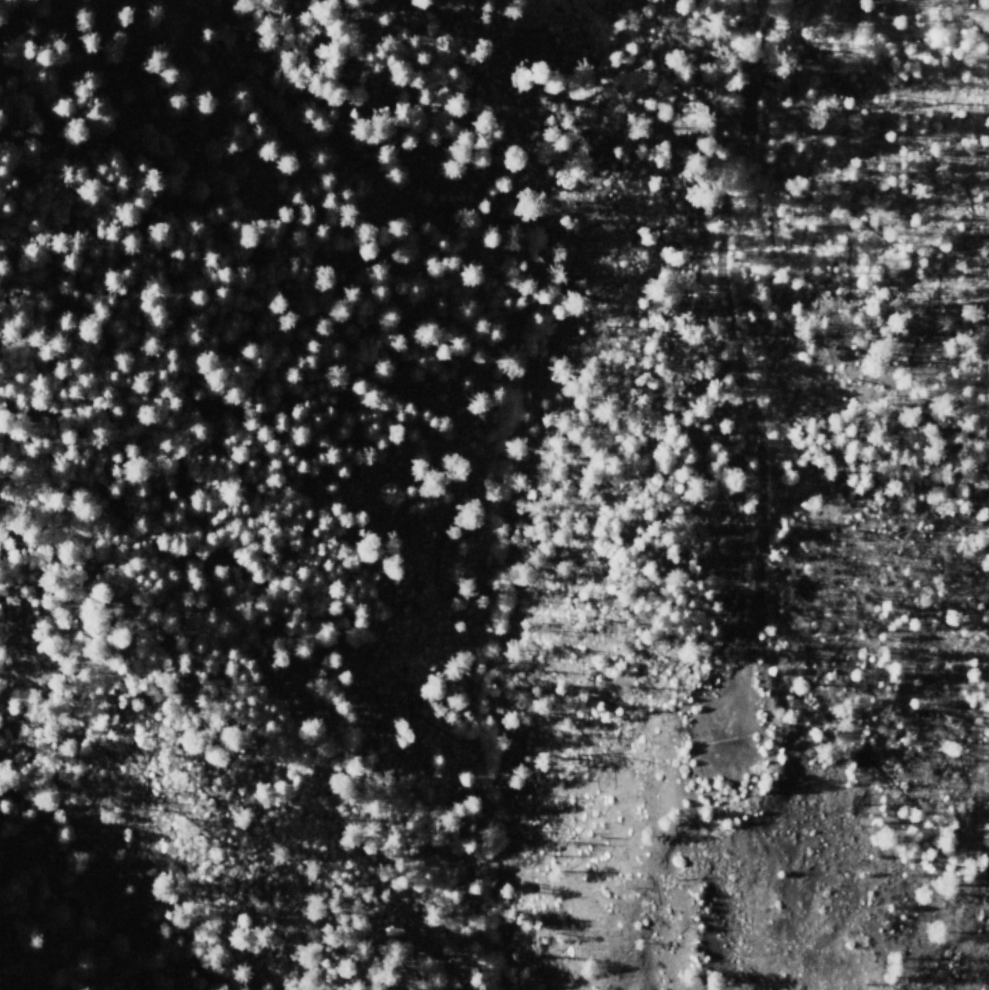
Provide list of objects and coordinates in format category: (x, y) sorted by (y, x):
road: (746, 319)

